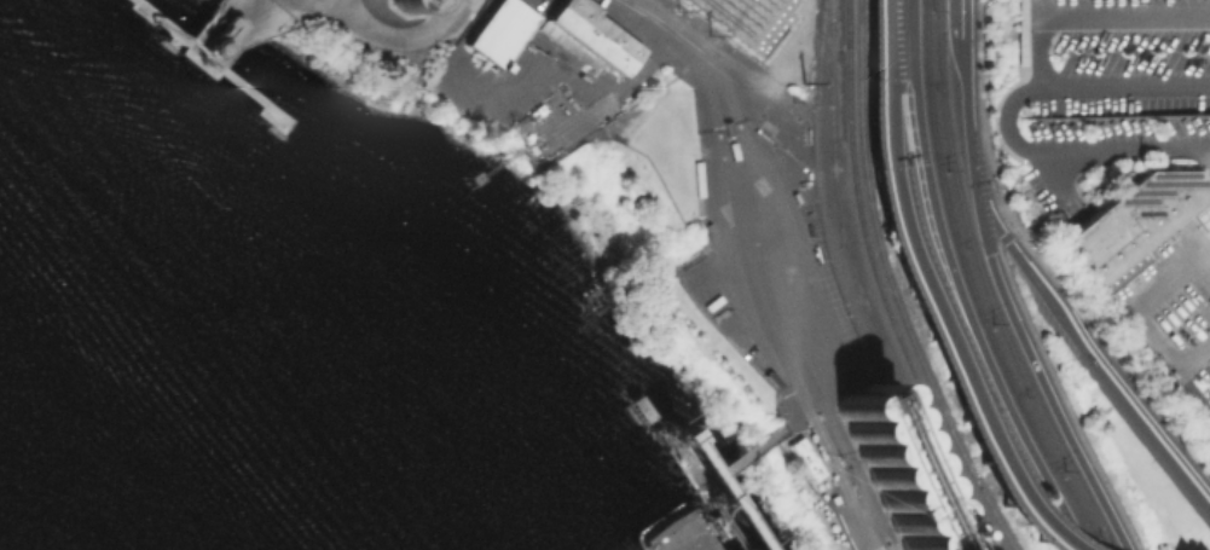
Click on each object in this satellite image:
road: (329, 5)
railway: (647, 15)
road: (1092, 16)
building: (754, 19)
road: (960, 19)
railway: (850, 22)
building: (499, 30)
road: (388, 33)
building: (586, 35)
pier: (222, 45)
road: (722, 53)
railway: (712, 62)
road: (888, 83)
road: (609, 86)
road: (1127, 86)
railway: (855, 112)
road: (965, 131)
road: (1073, 151)
road: (1055, 176)
railway: (878, 210)
road: (887, 210)
building: (1130, 216)
traffic signals: (980, 220)
railway: (846, 286)
railway: (863, 286)
road: (954, 286)
railway: (969, 286)
railway: (985, 286)
road: (745, 297)
parking lot: (1170, 322)
road: (1140, 323)
railway: (873, 326)
road: (1096, 364)
road: (959, 370)
road: (1046, 388)
railway: (922, 392)
building: (803, 457)
building: (890, 469)
pier: (701, 470)
railway: (984, 480)
road: (1001, 485)
railway: (966, 539)
river: (7, 542)

